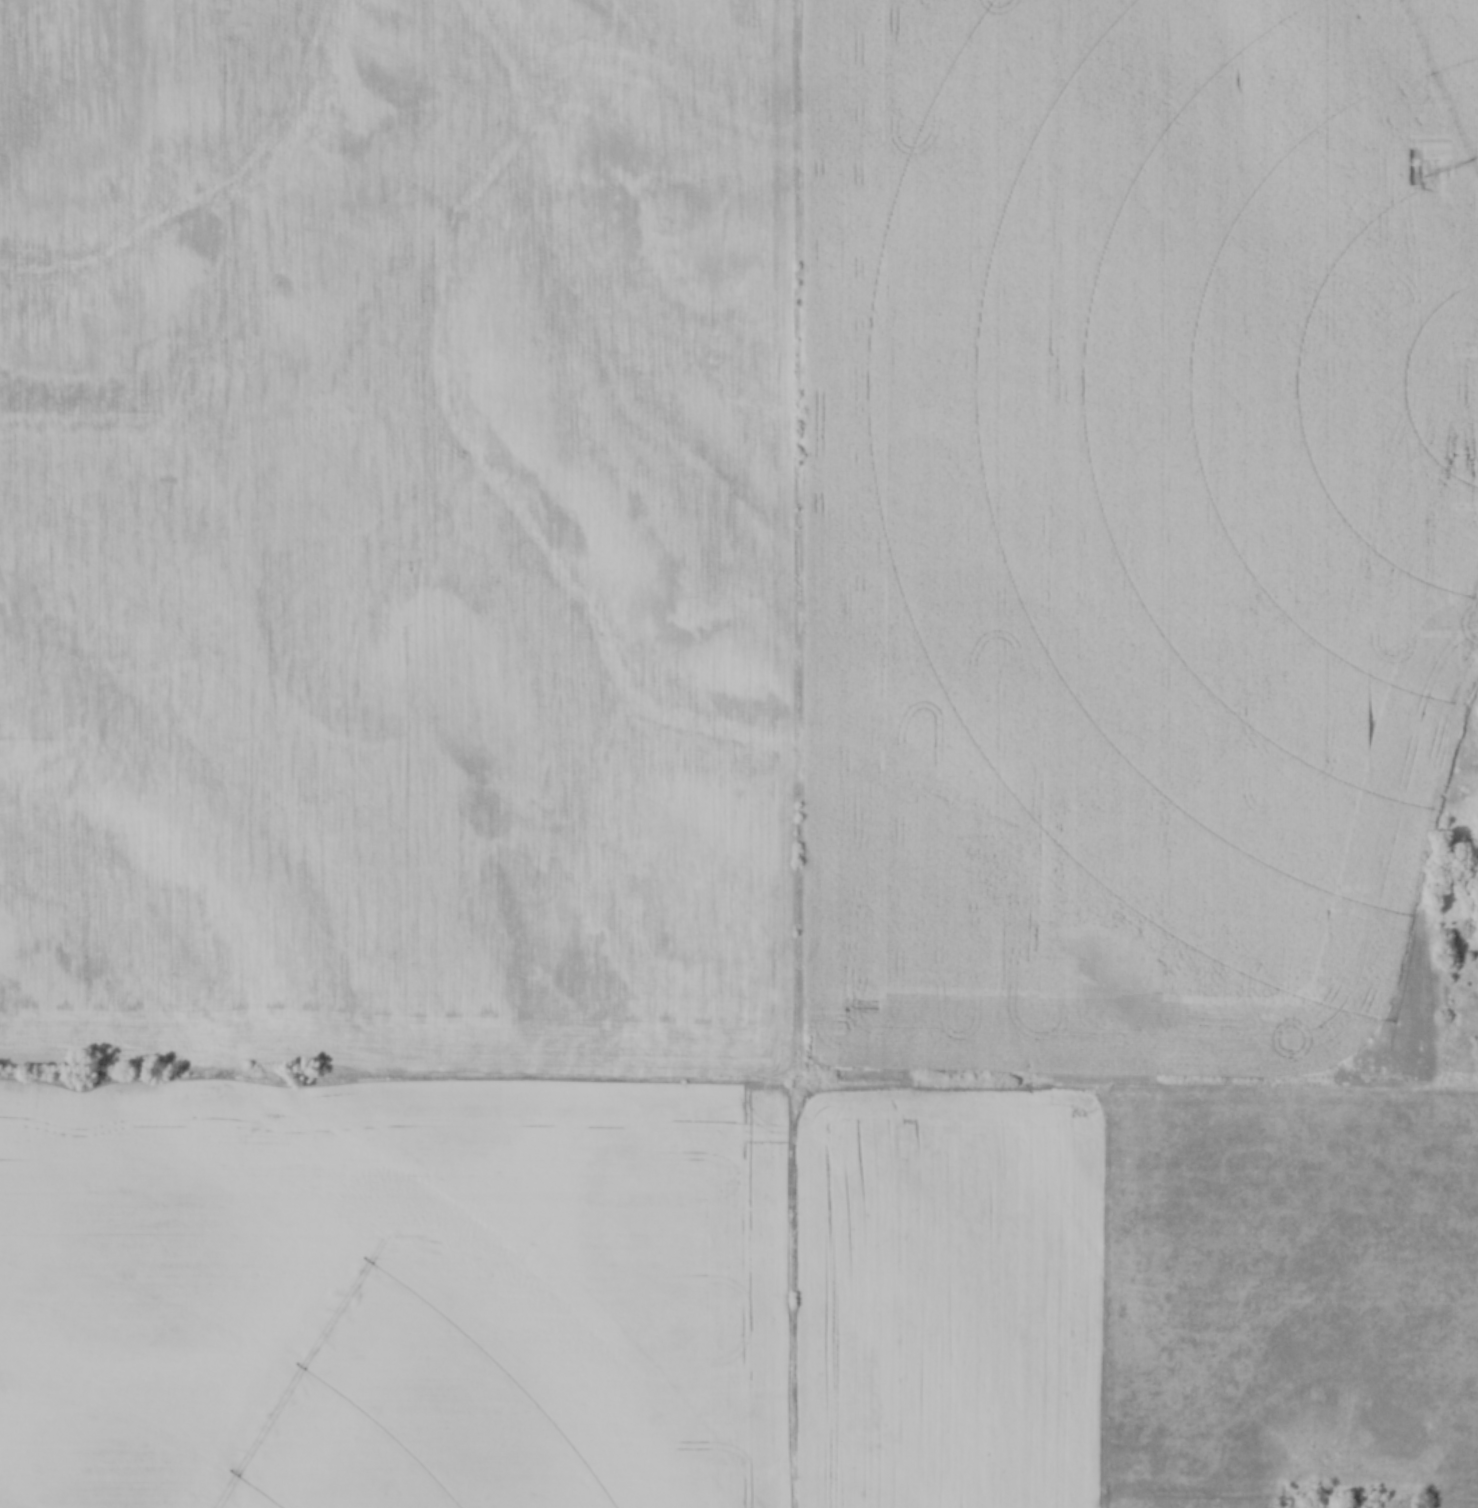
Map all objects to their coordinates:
power tower: (1428, 172)

